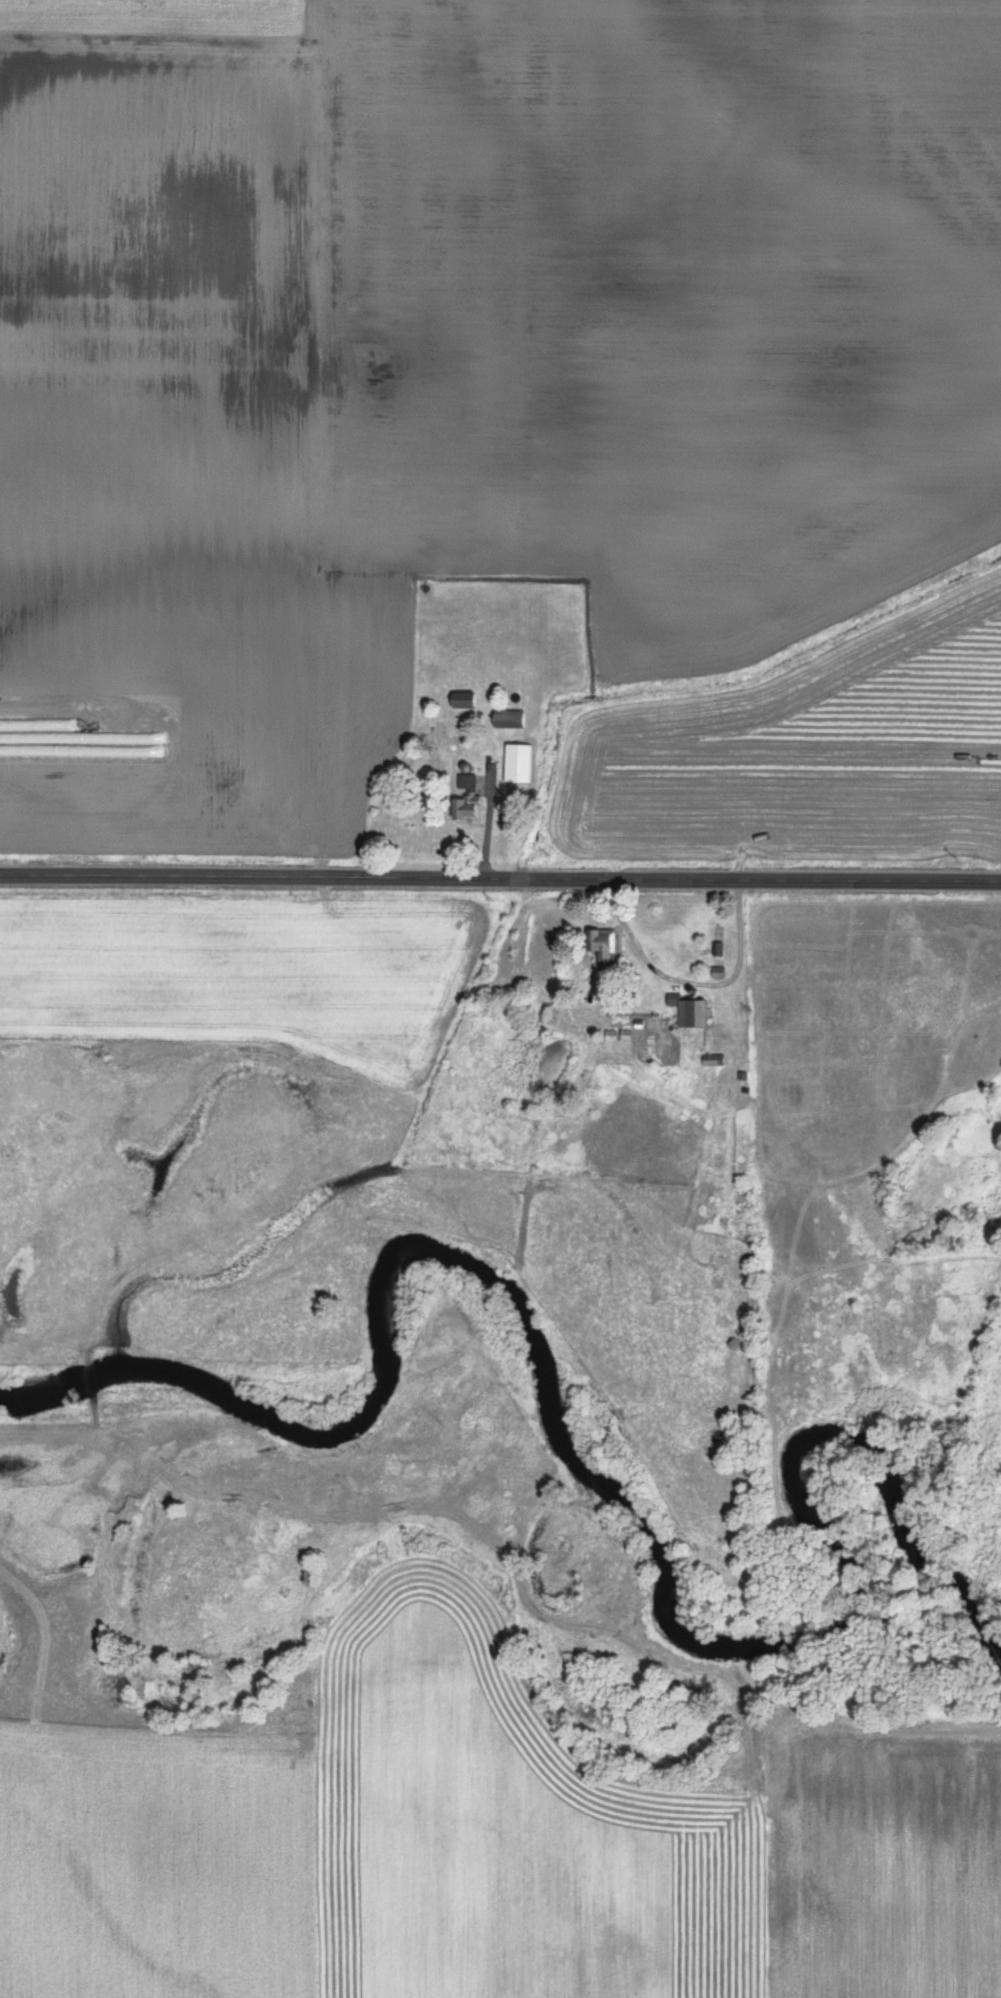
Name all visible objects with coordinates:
building: (466, 704)
building: (513, 723)
building: (522, 768)
building: (471, 803)
road: (488, 824)
road: (500, 880)
building: (608, 949)
road: (697, 983)
building: (698, 1017)
building: (716, 1064)
river: (613, 1497)

